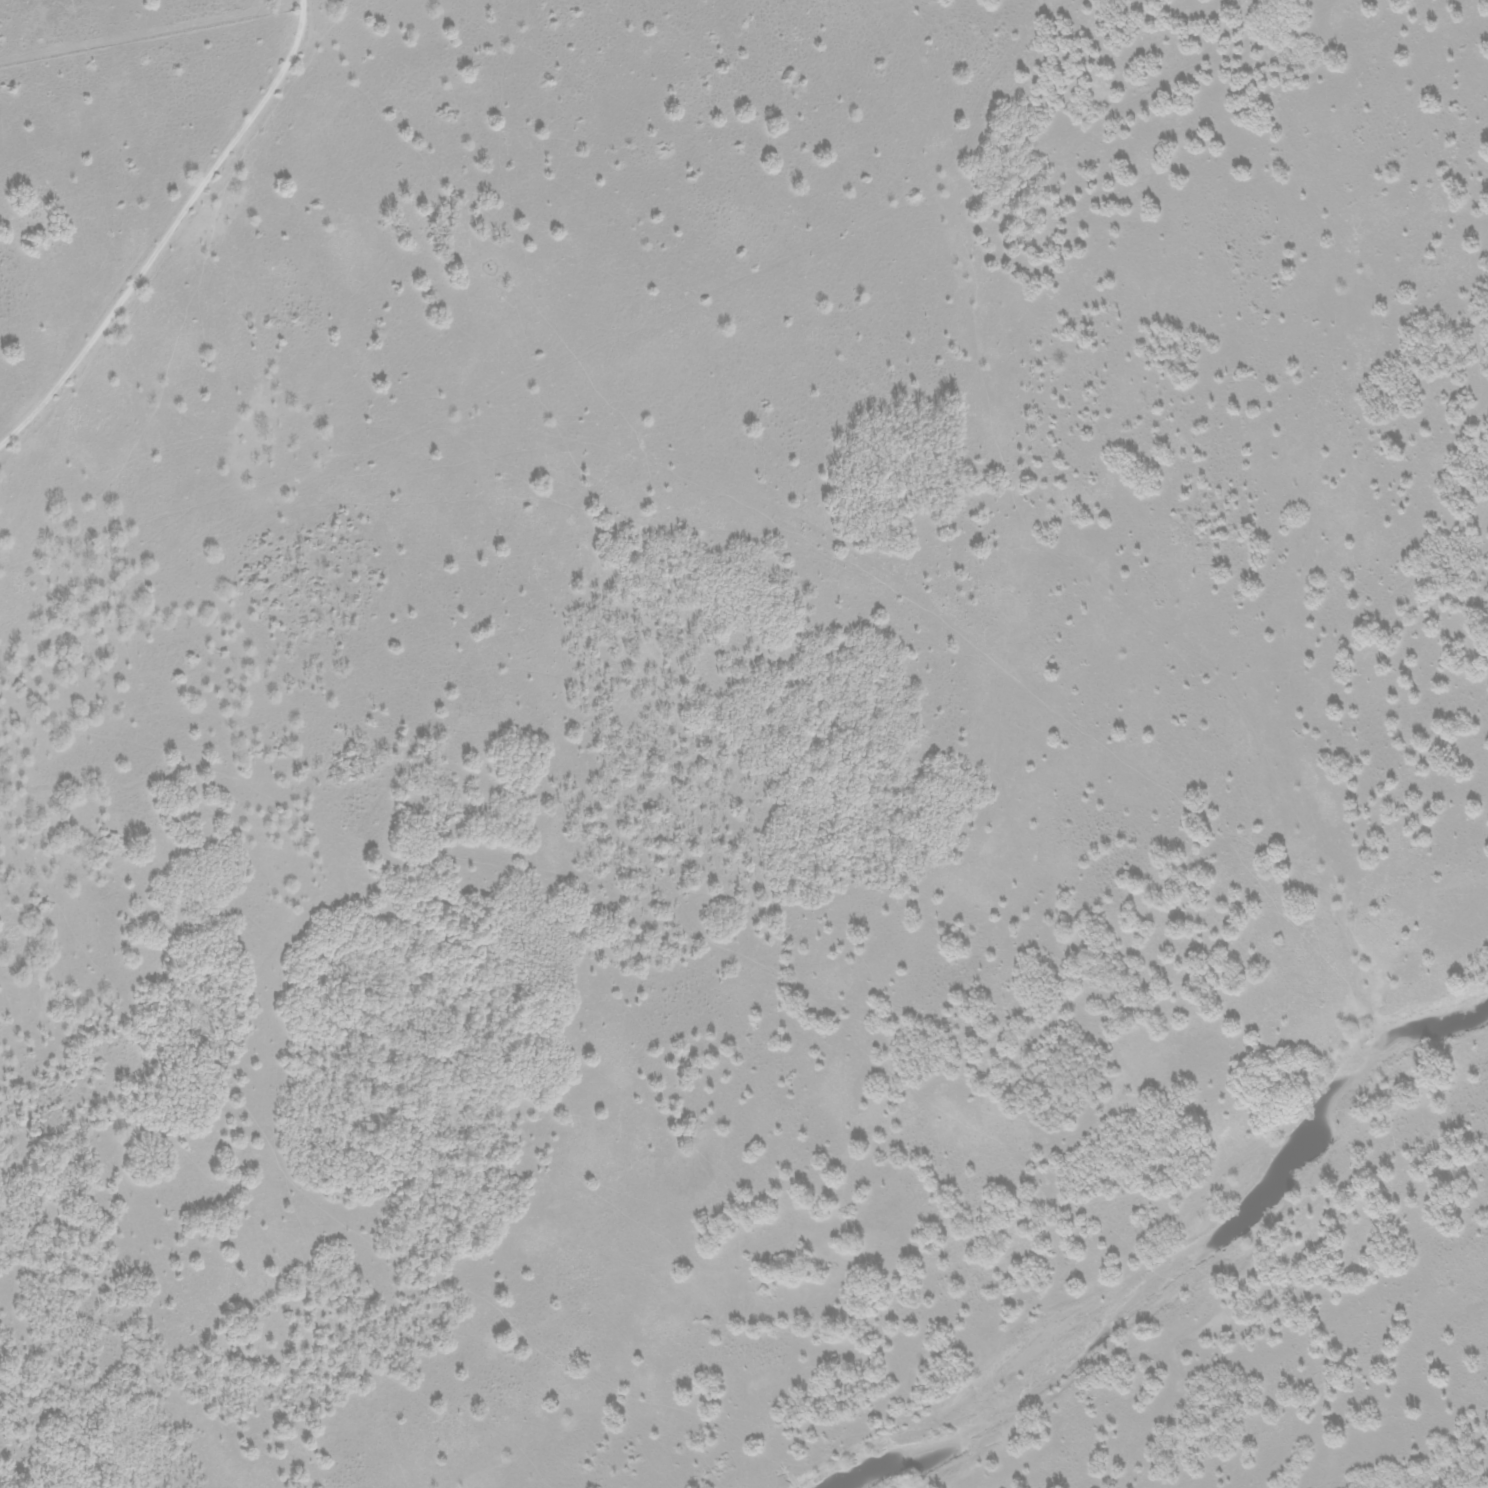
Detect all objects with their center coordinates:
road: (513, 629)

